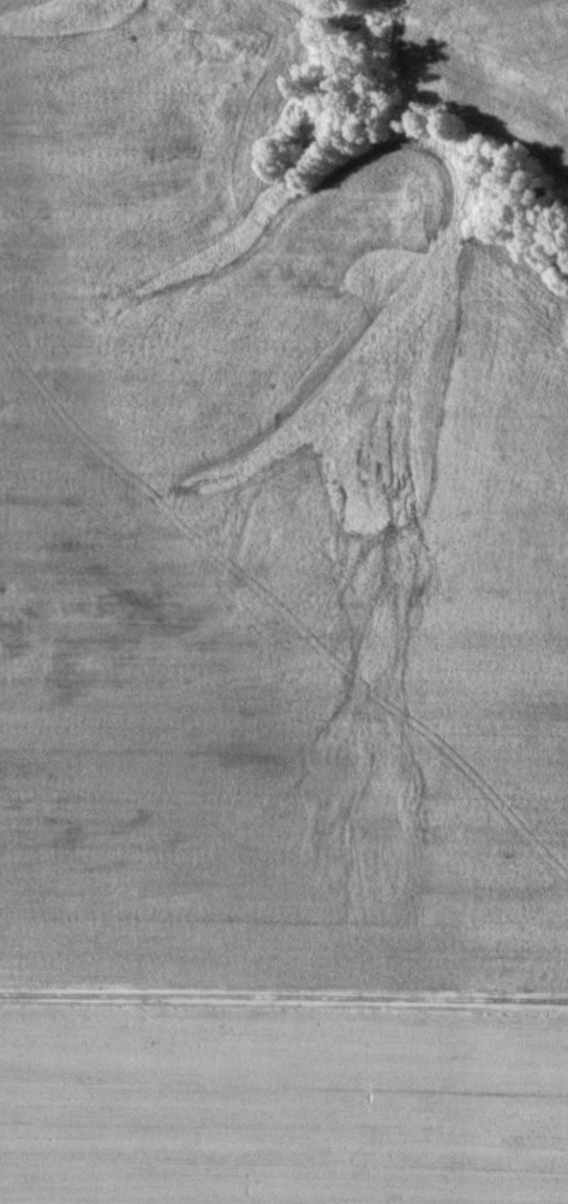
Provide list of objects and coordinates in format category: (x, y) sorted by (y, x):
road: (283, 1008)

